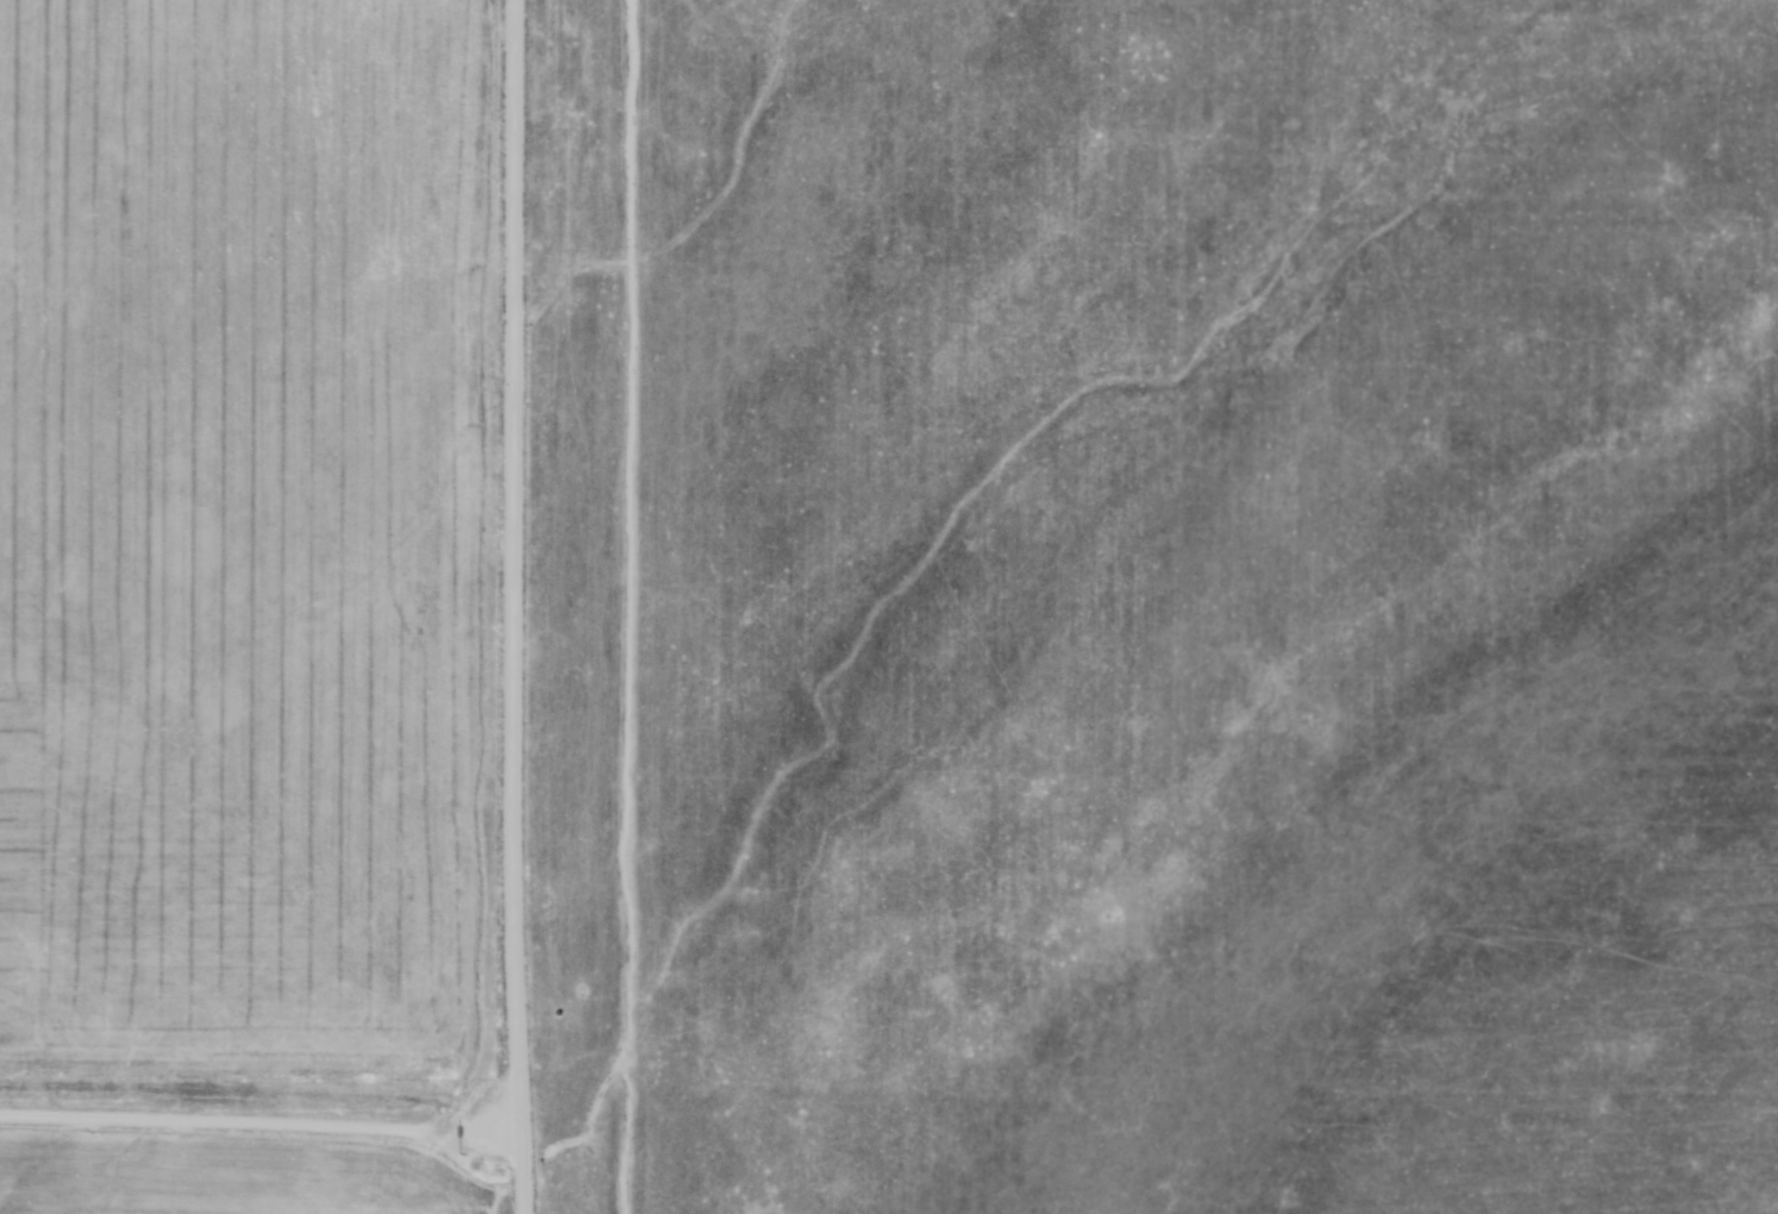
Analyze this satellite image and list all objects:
road: (512, 607)
road: (259, 1128)

